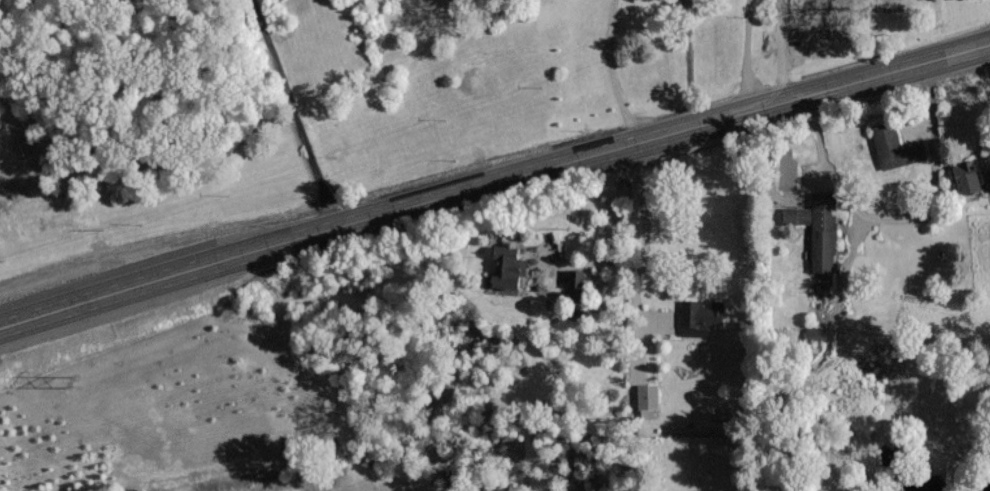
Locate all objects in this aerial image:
road: (750, 54)
road: (614, 71)
road: (296, 111)
building: (892, 146)
building: (963, 177)
road: (492, 179)
building: (988, 180)
building: (815, 228)
building: (571, 278)
building: (698, 313)
building: (811, 333)
power tower: (74, 380)
building: (644, 396)

